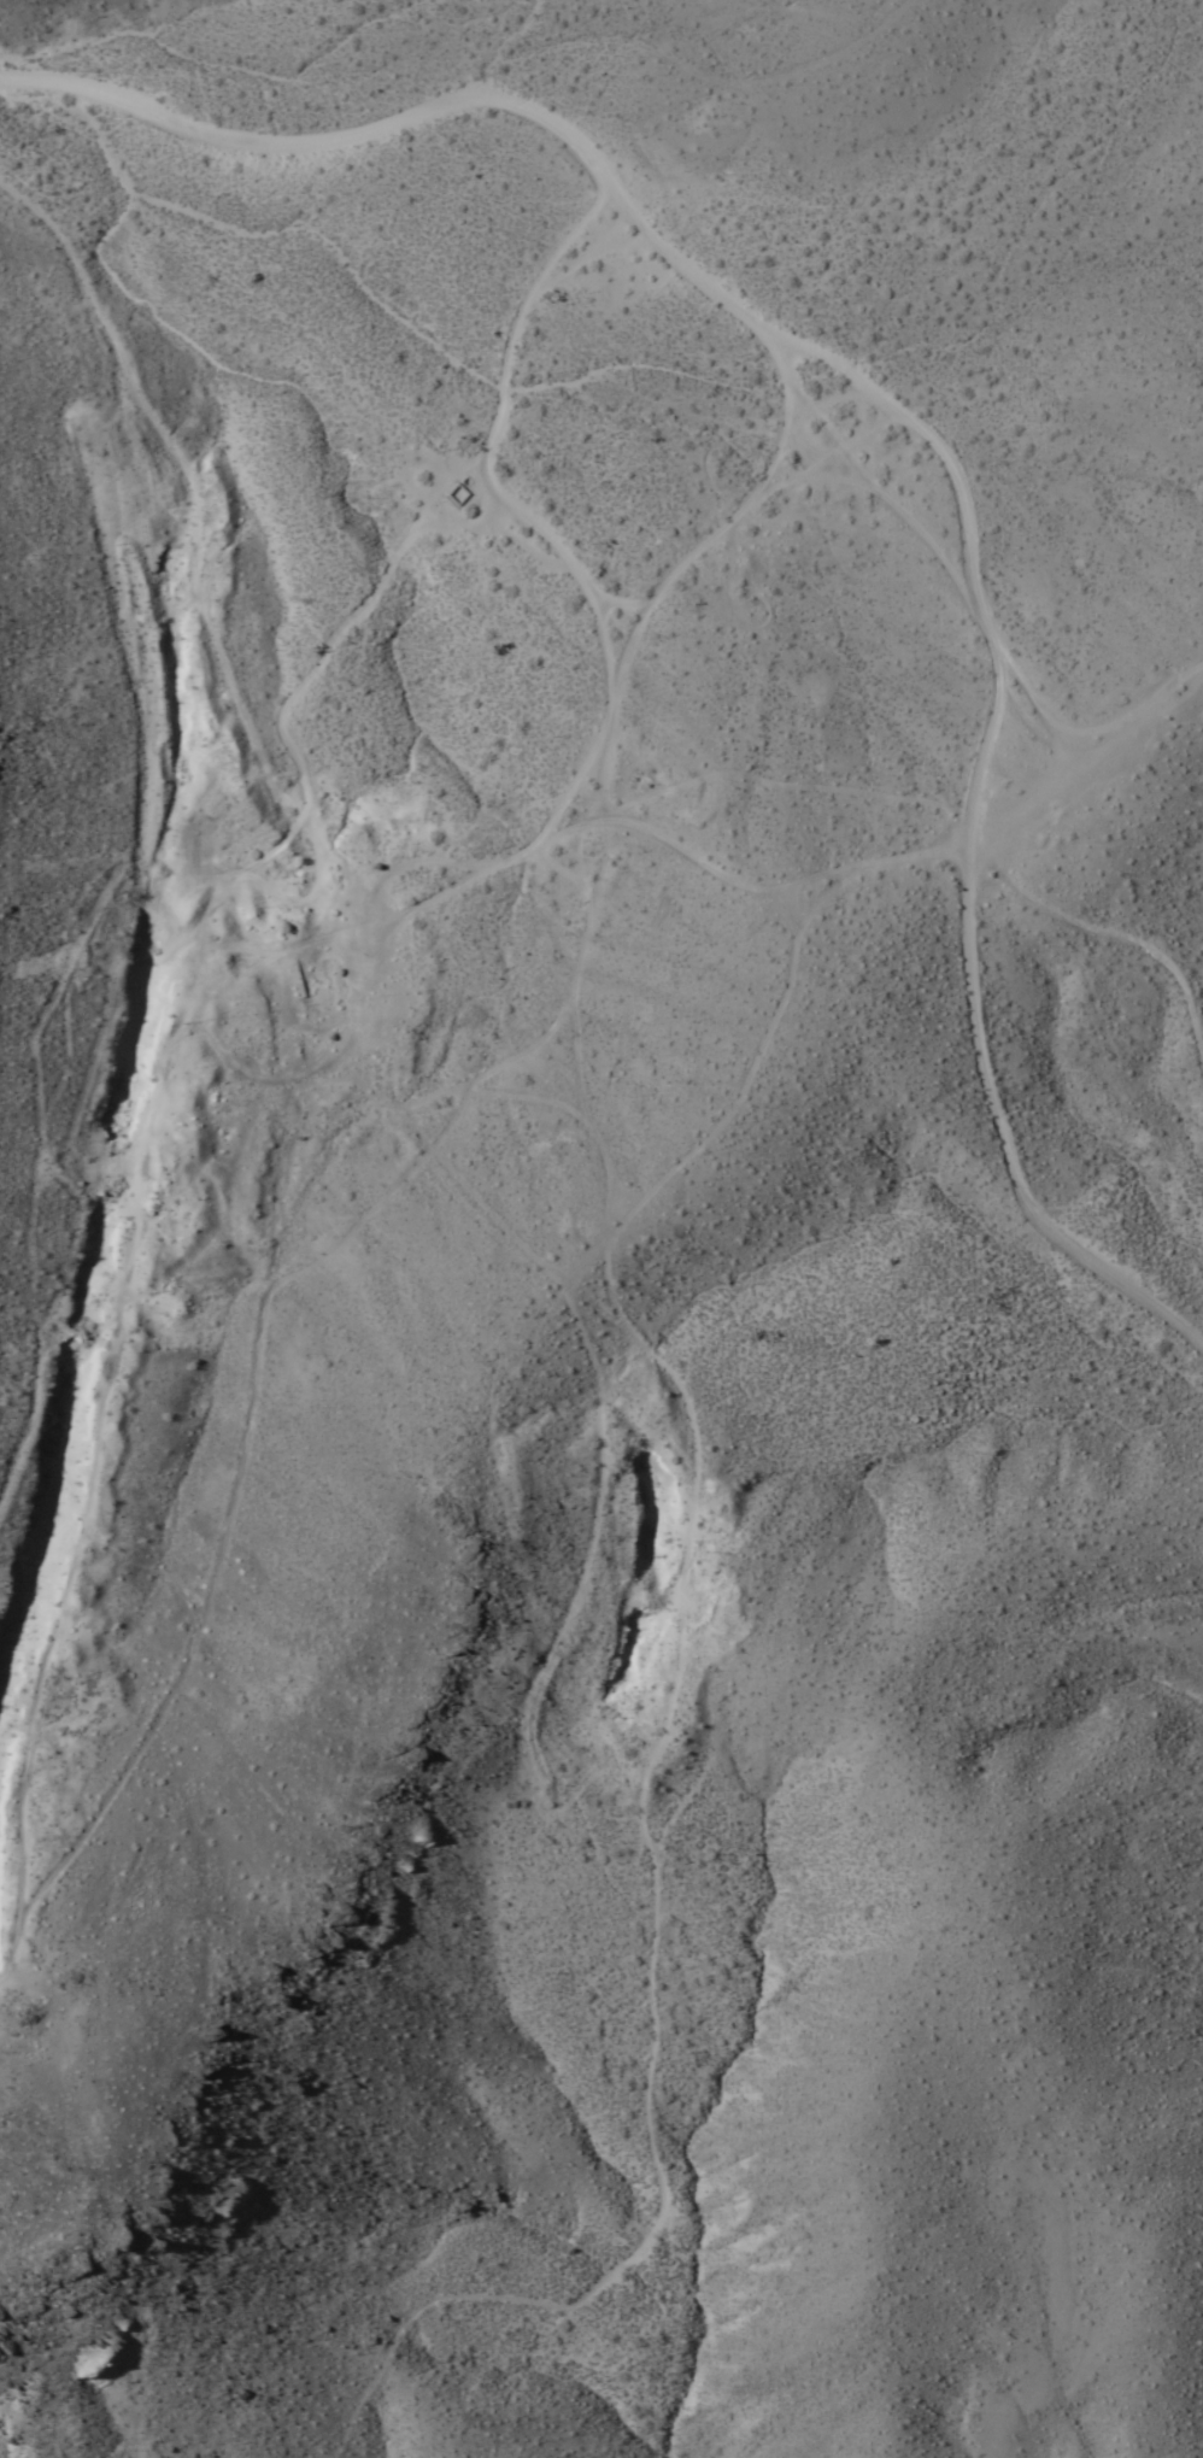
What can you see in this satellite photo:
road: (669, 253)
road: (509, 315)
road: (485, 485)
building: (452, 495)
road: (894, 509)
road: (430, 526)
road: (559, 567)
road: (581, 577)
road: (317, 655)
road: (1035, 706)
road: (1091, 759)
road: (398, 870)
road: (780, 887)
road: (1108, 935)
road: (583, 955)
road: (218, 1536)
road: (633, 1824)

